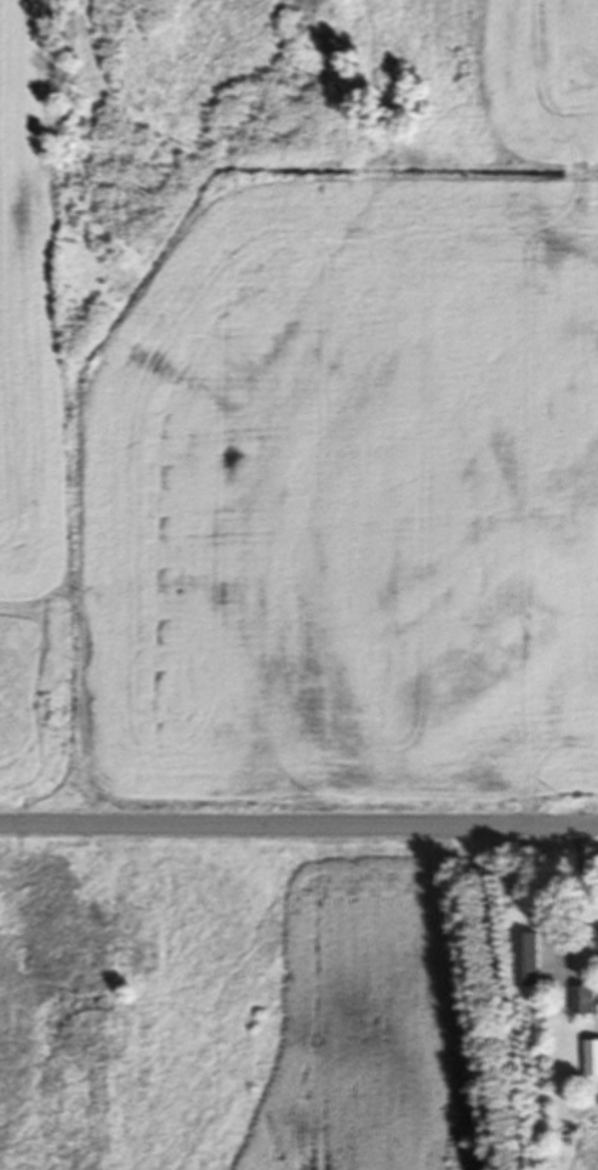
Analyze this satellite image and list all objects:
road: (298, 825)
building: (530, 964)
building: (586, 1005)

